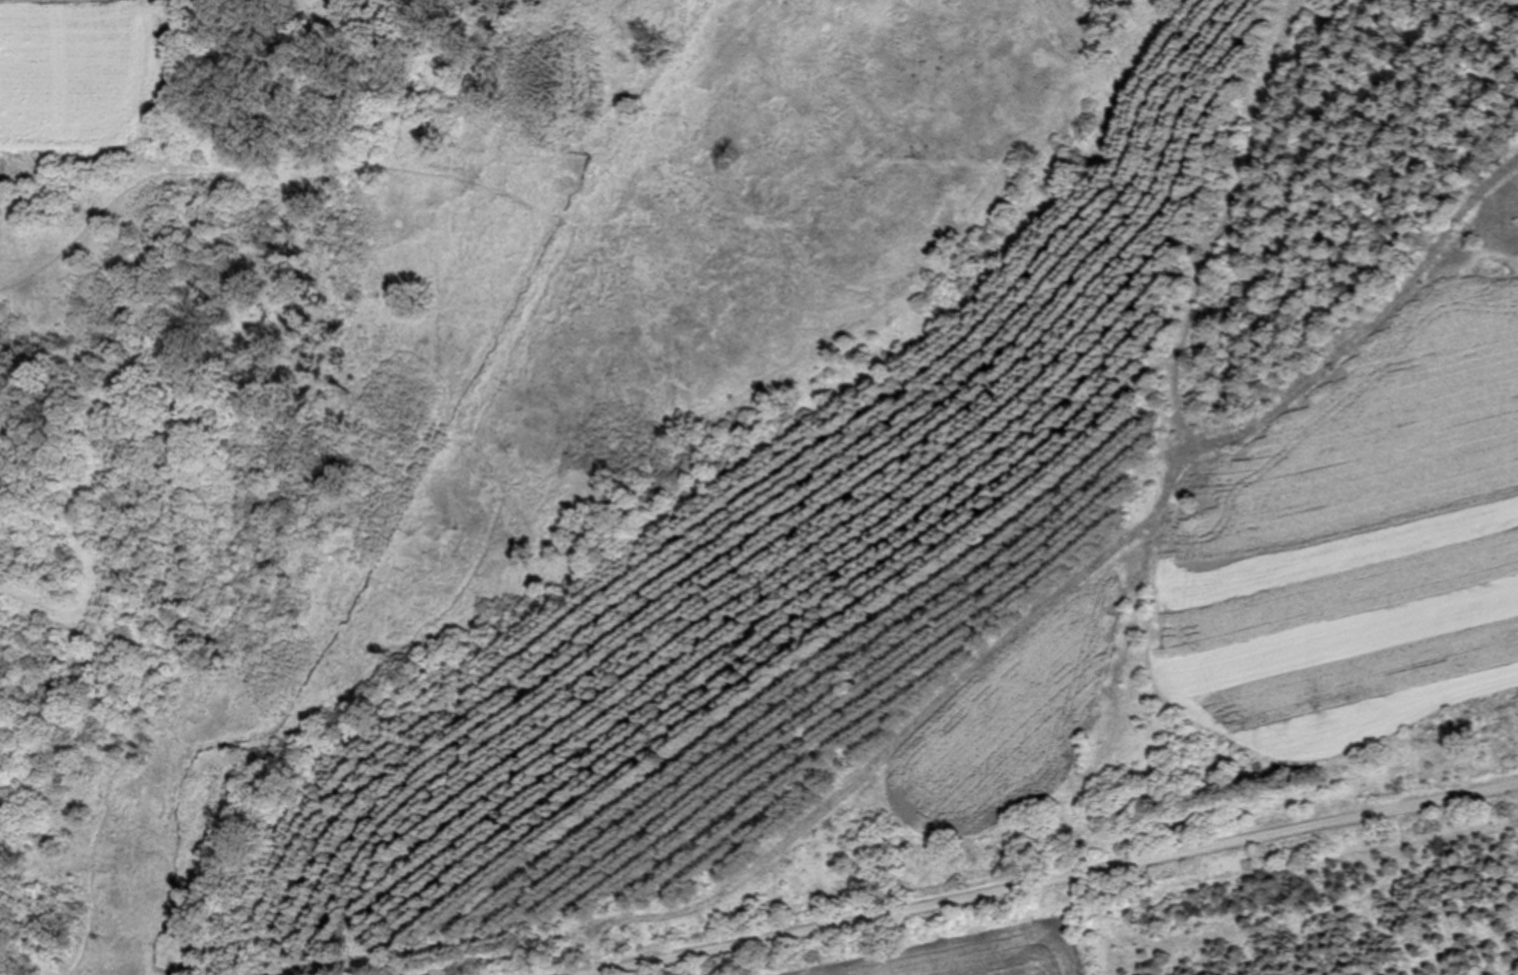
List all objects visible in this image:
road: (1040, 878)

